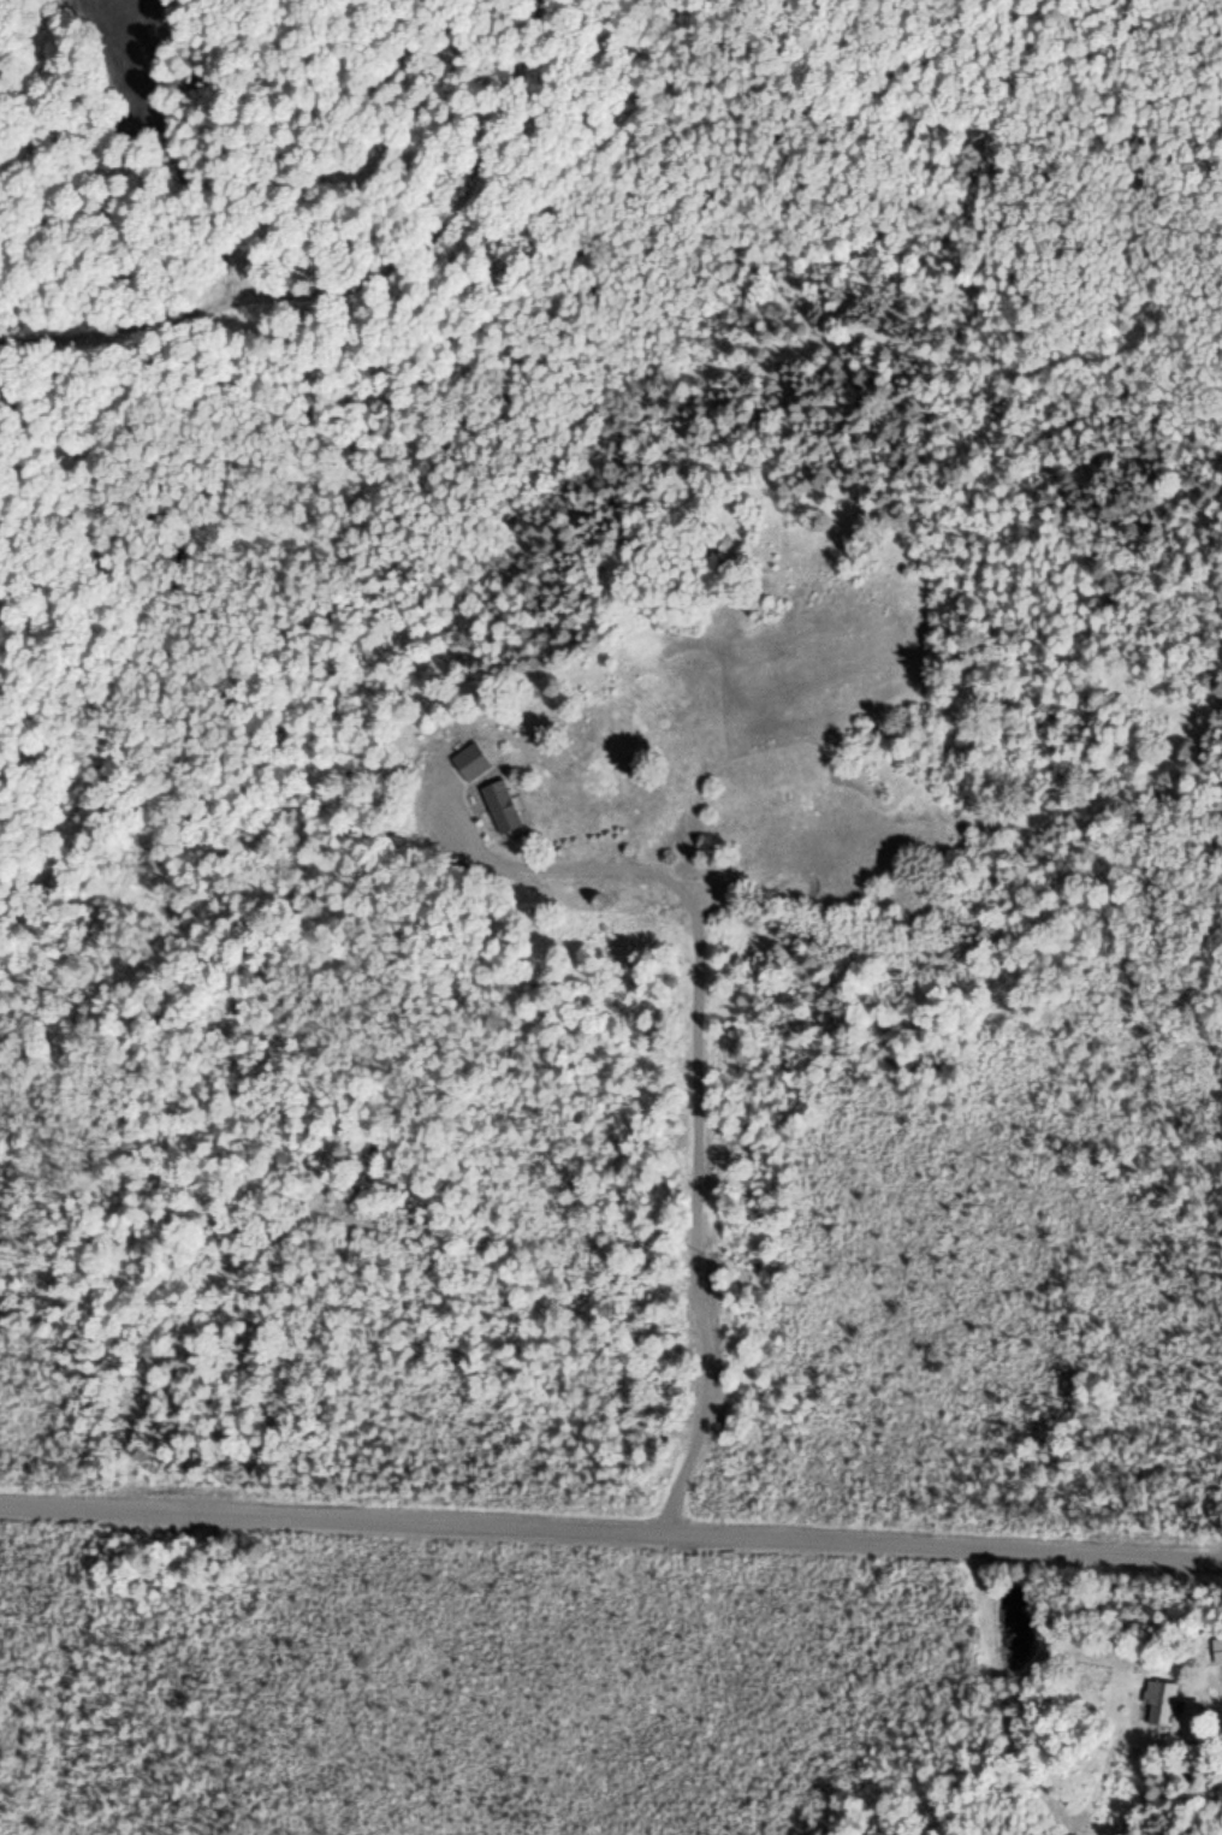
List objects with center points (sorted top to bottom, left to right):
road: (694, 1097)
road: (611, 1533)

